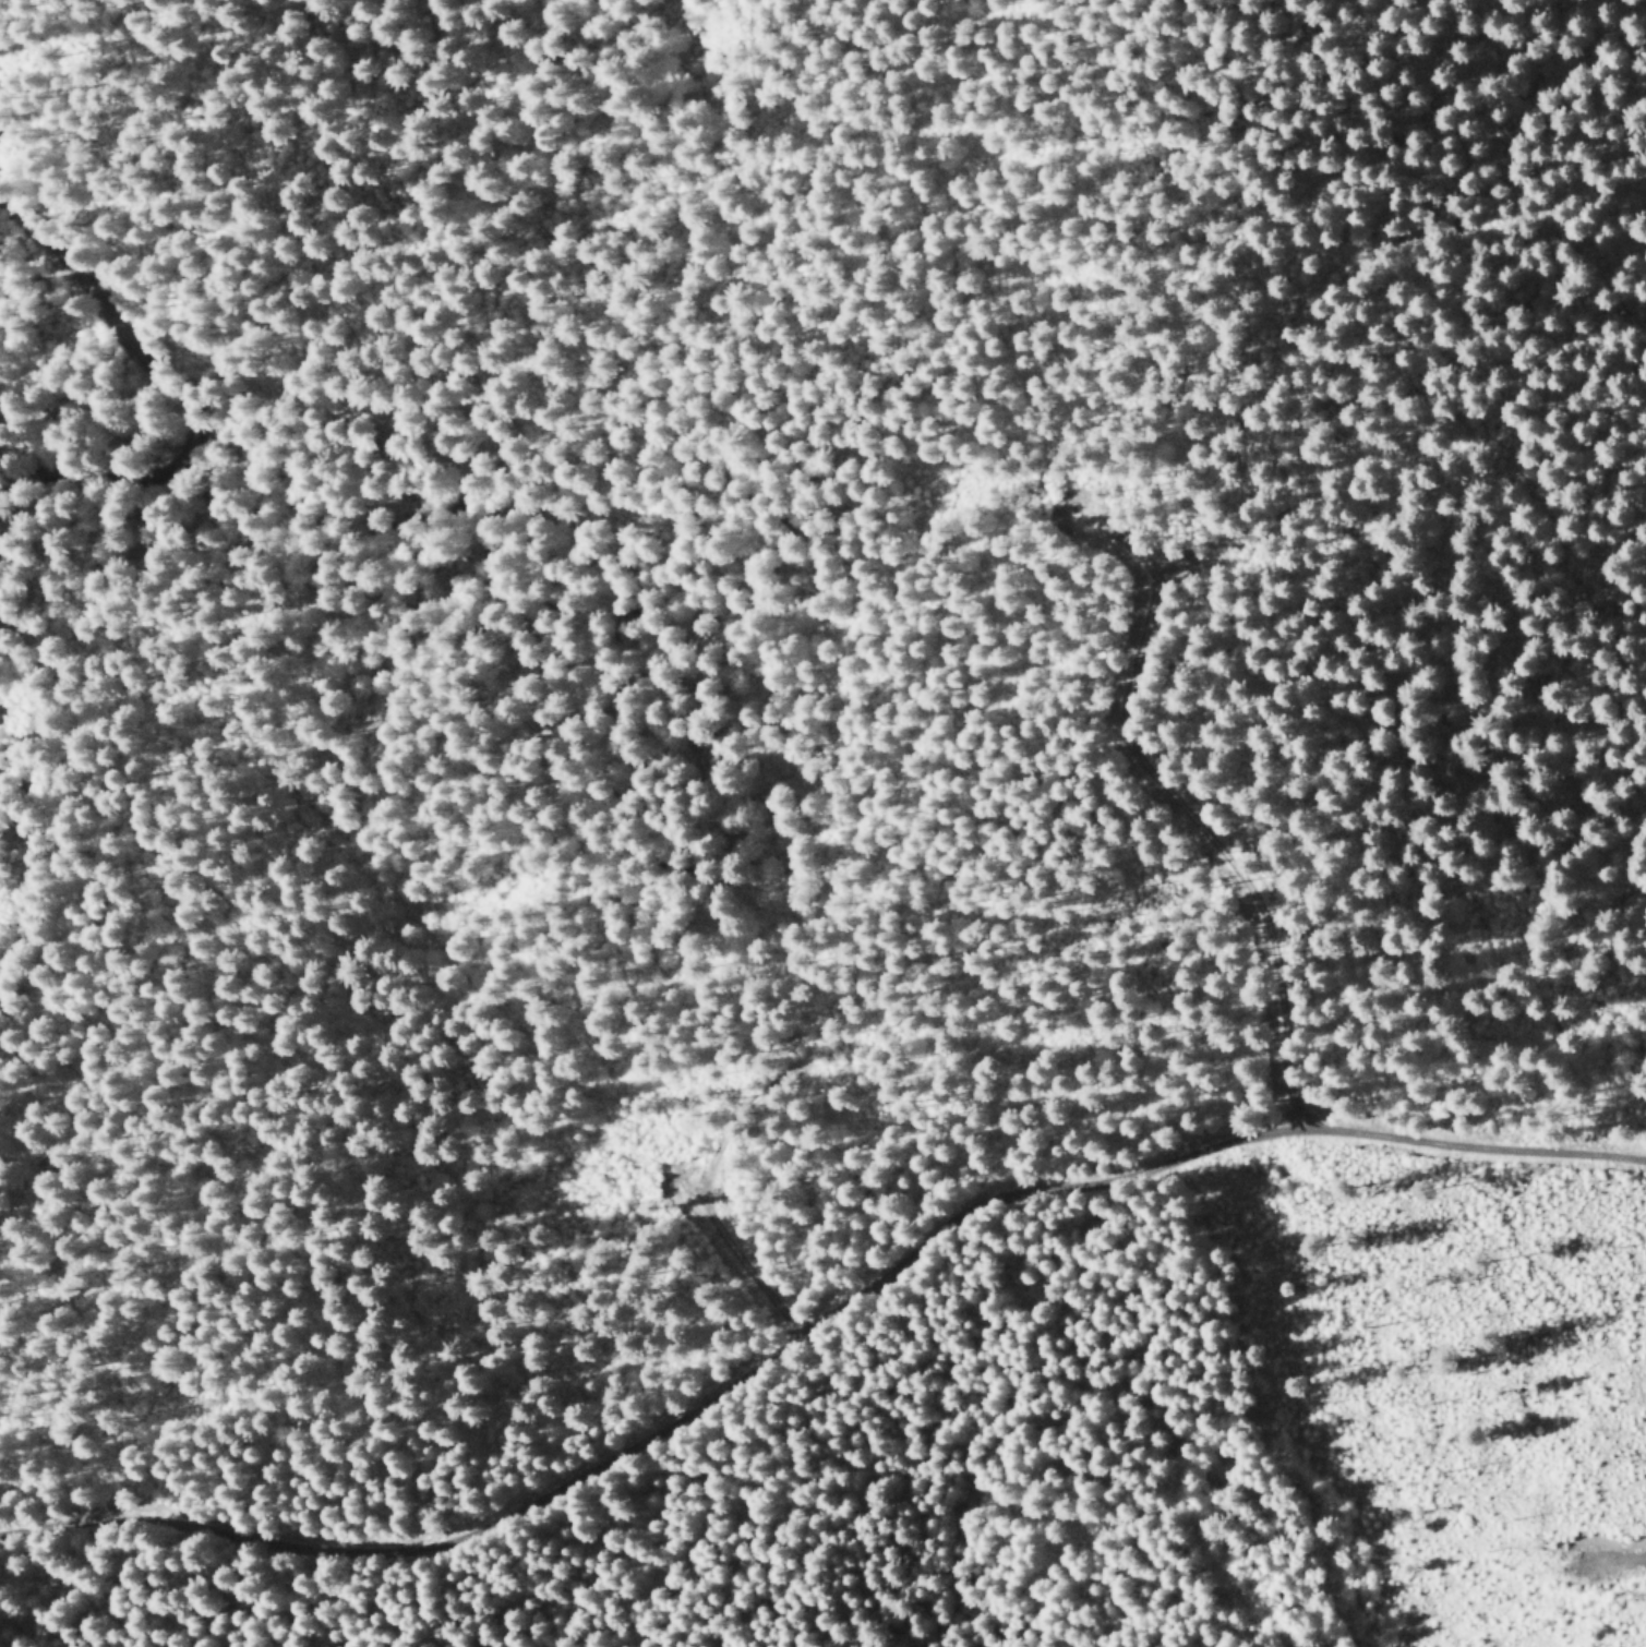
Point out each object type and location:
road: (805, 1319)

